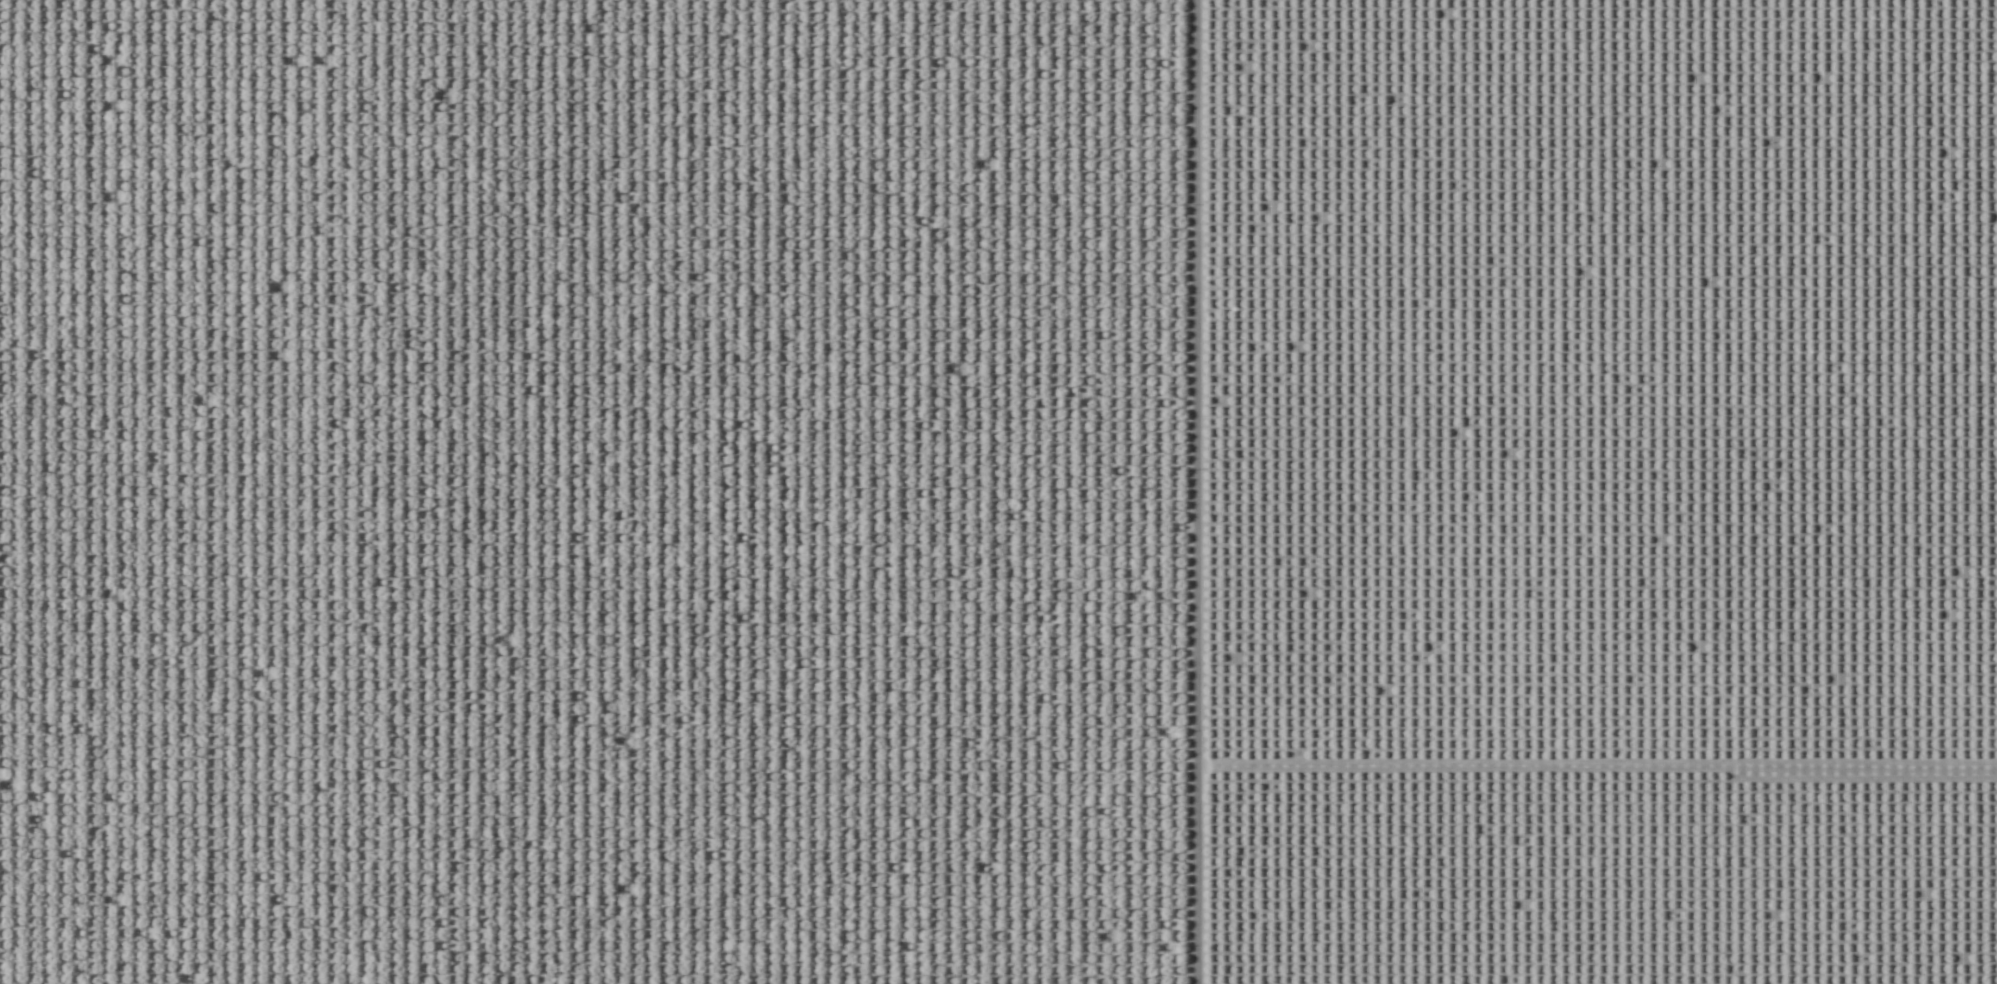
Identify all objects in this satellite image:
road: (1199, 492)
road: (1598, 762)

